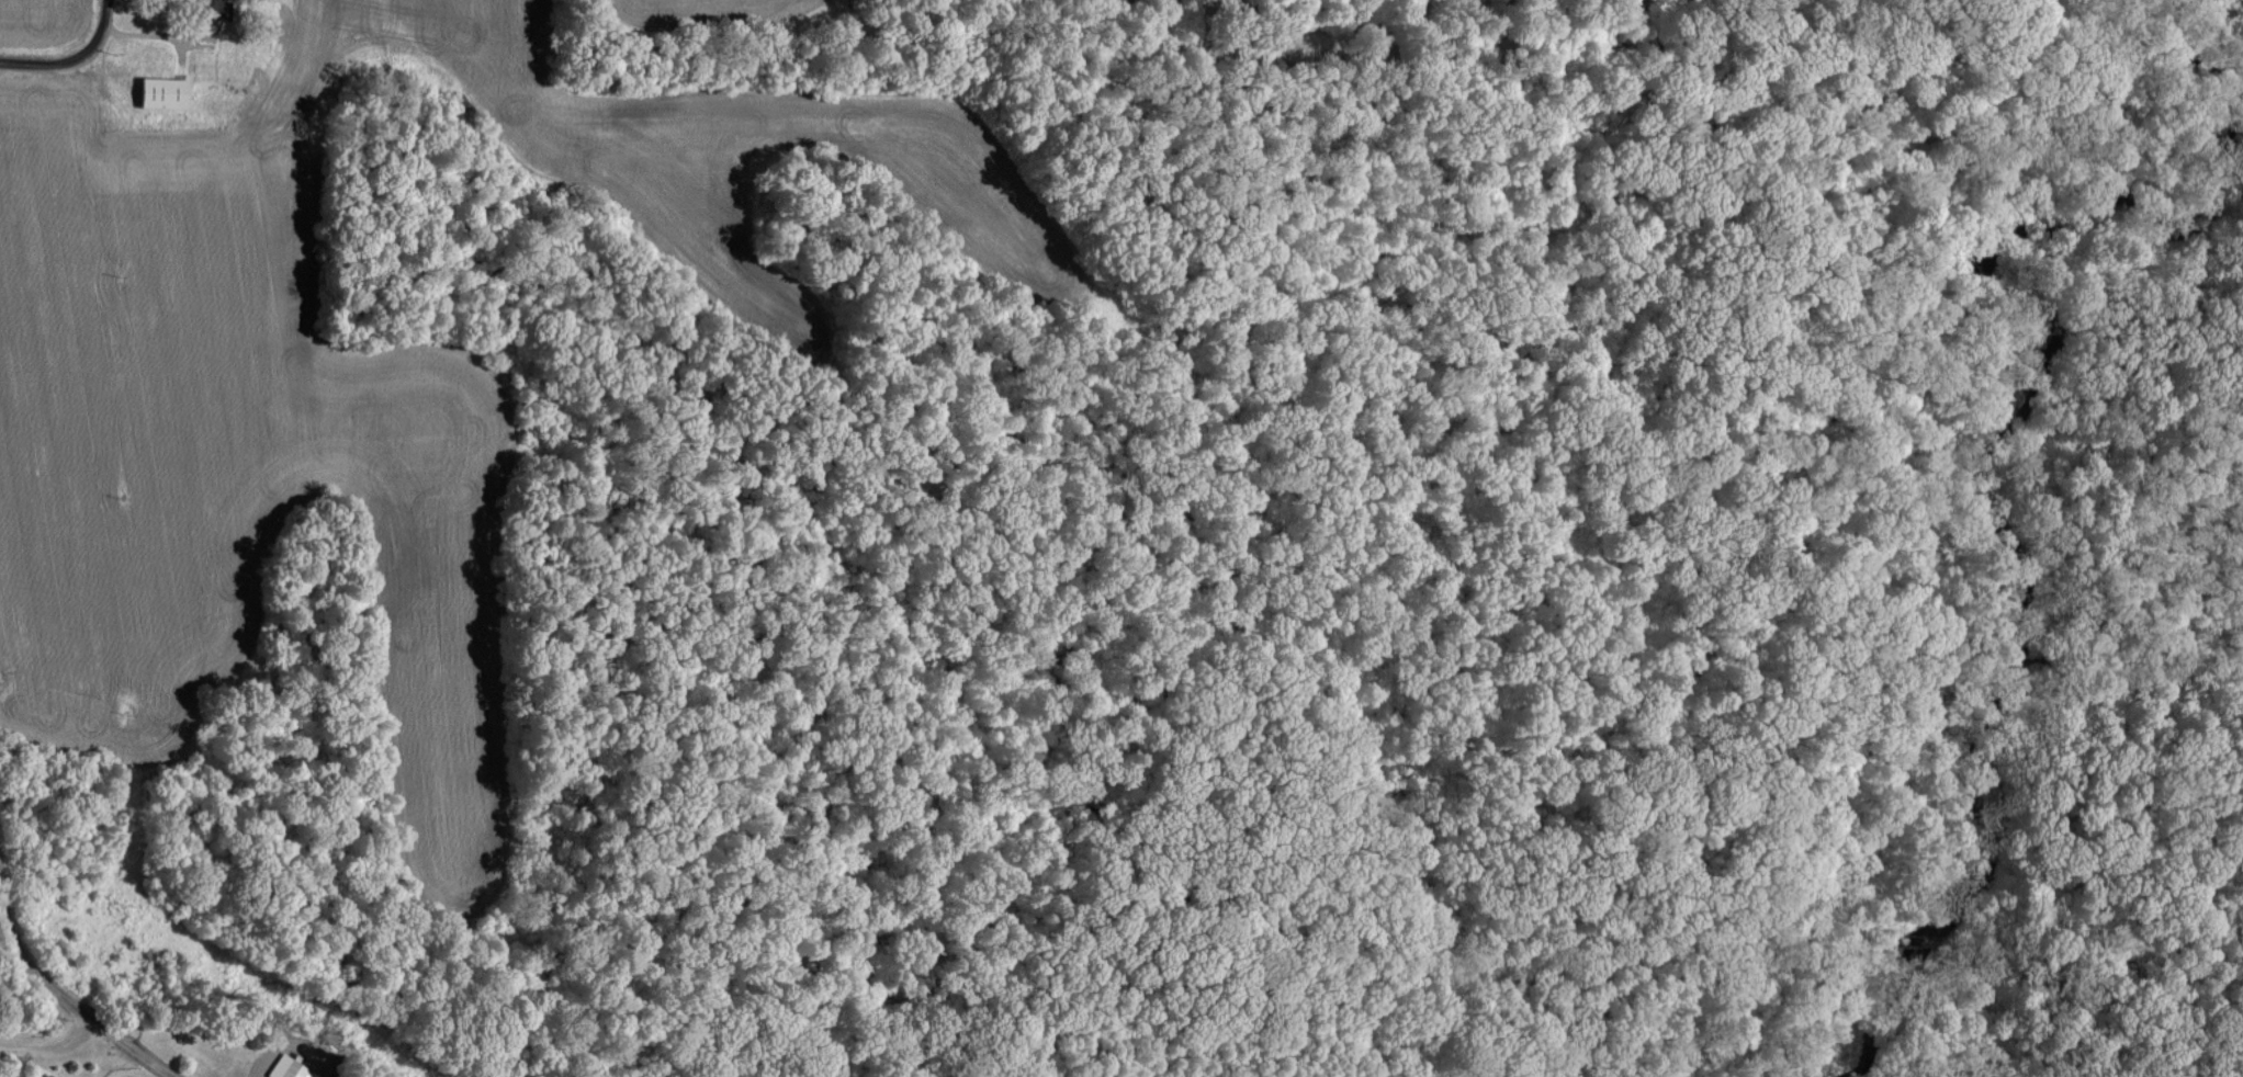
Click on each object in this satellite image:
building: (207, 9)
road: (72, 63)
building: (159, 91)
road: (20, 956)
road: (132, 1046)
road: (48, 1051)
building: (286, 1068)

